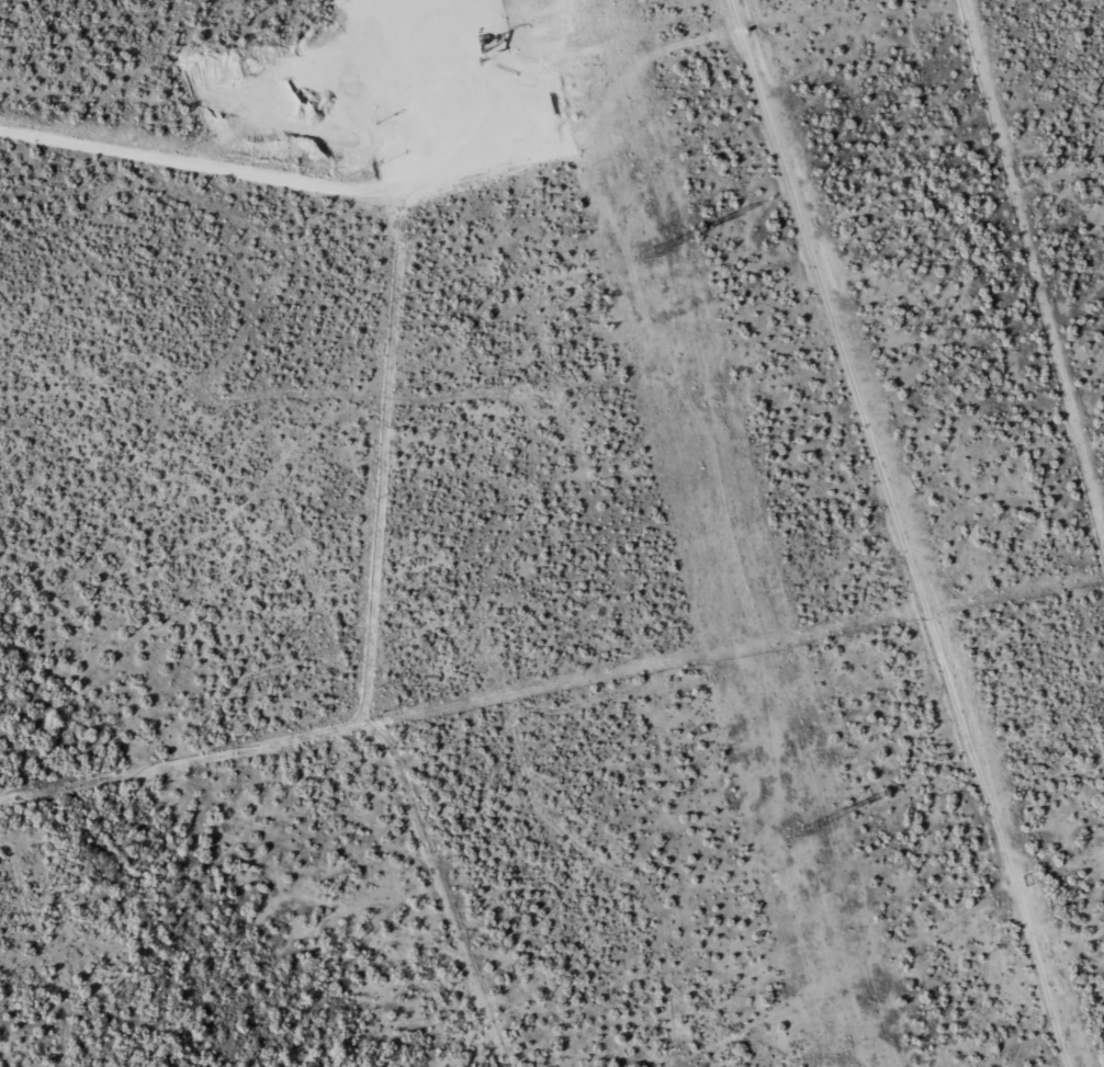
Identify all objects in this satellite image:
power tower: (642, 259)
power tower: (796, 829)

